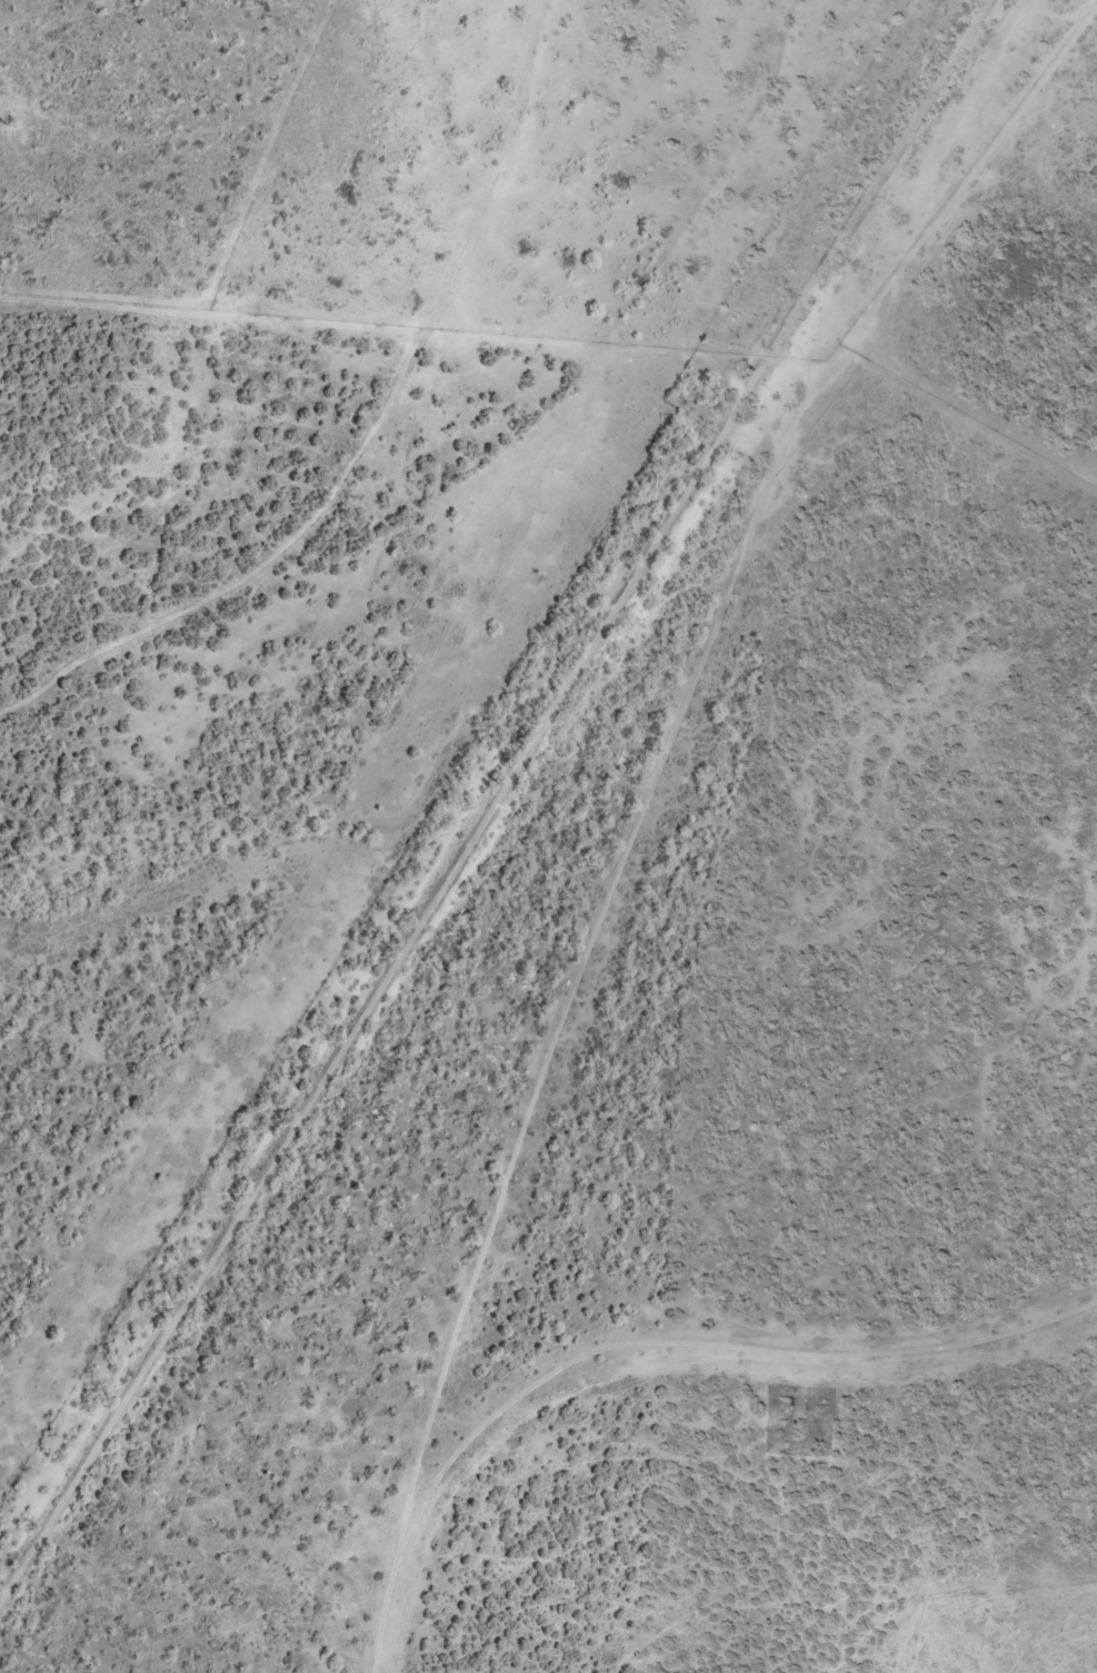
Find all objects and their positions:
road: (209, 314)
road: (366, 434)
railway: (509, 816)

